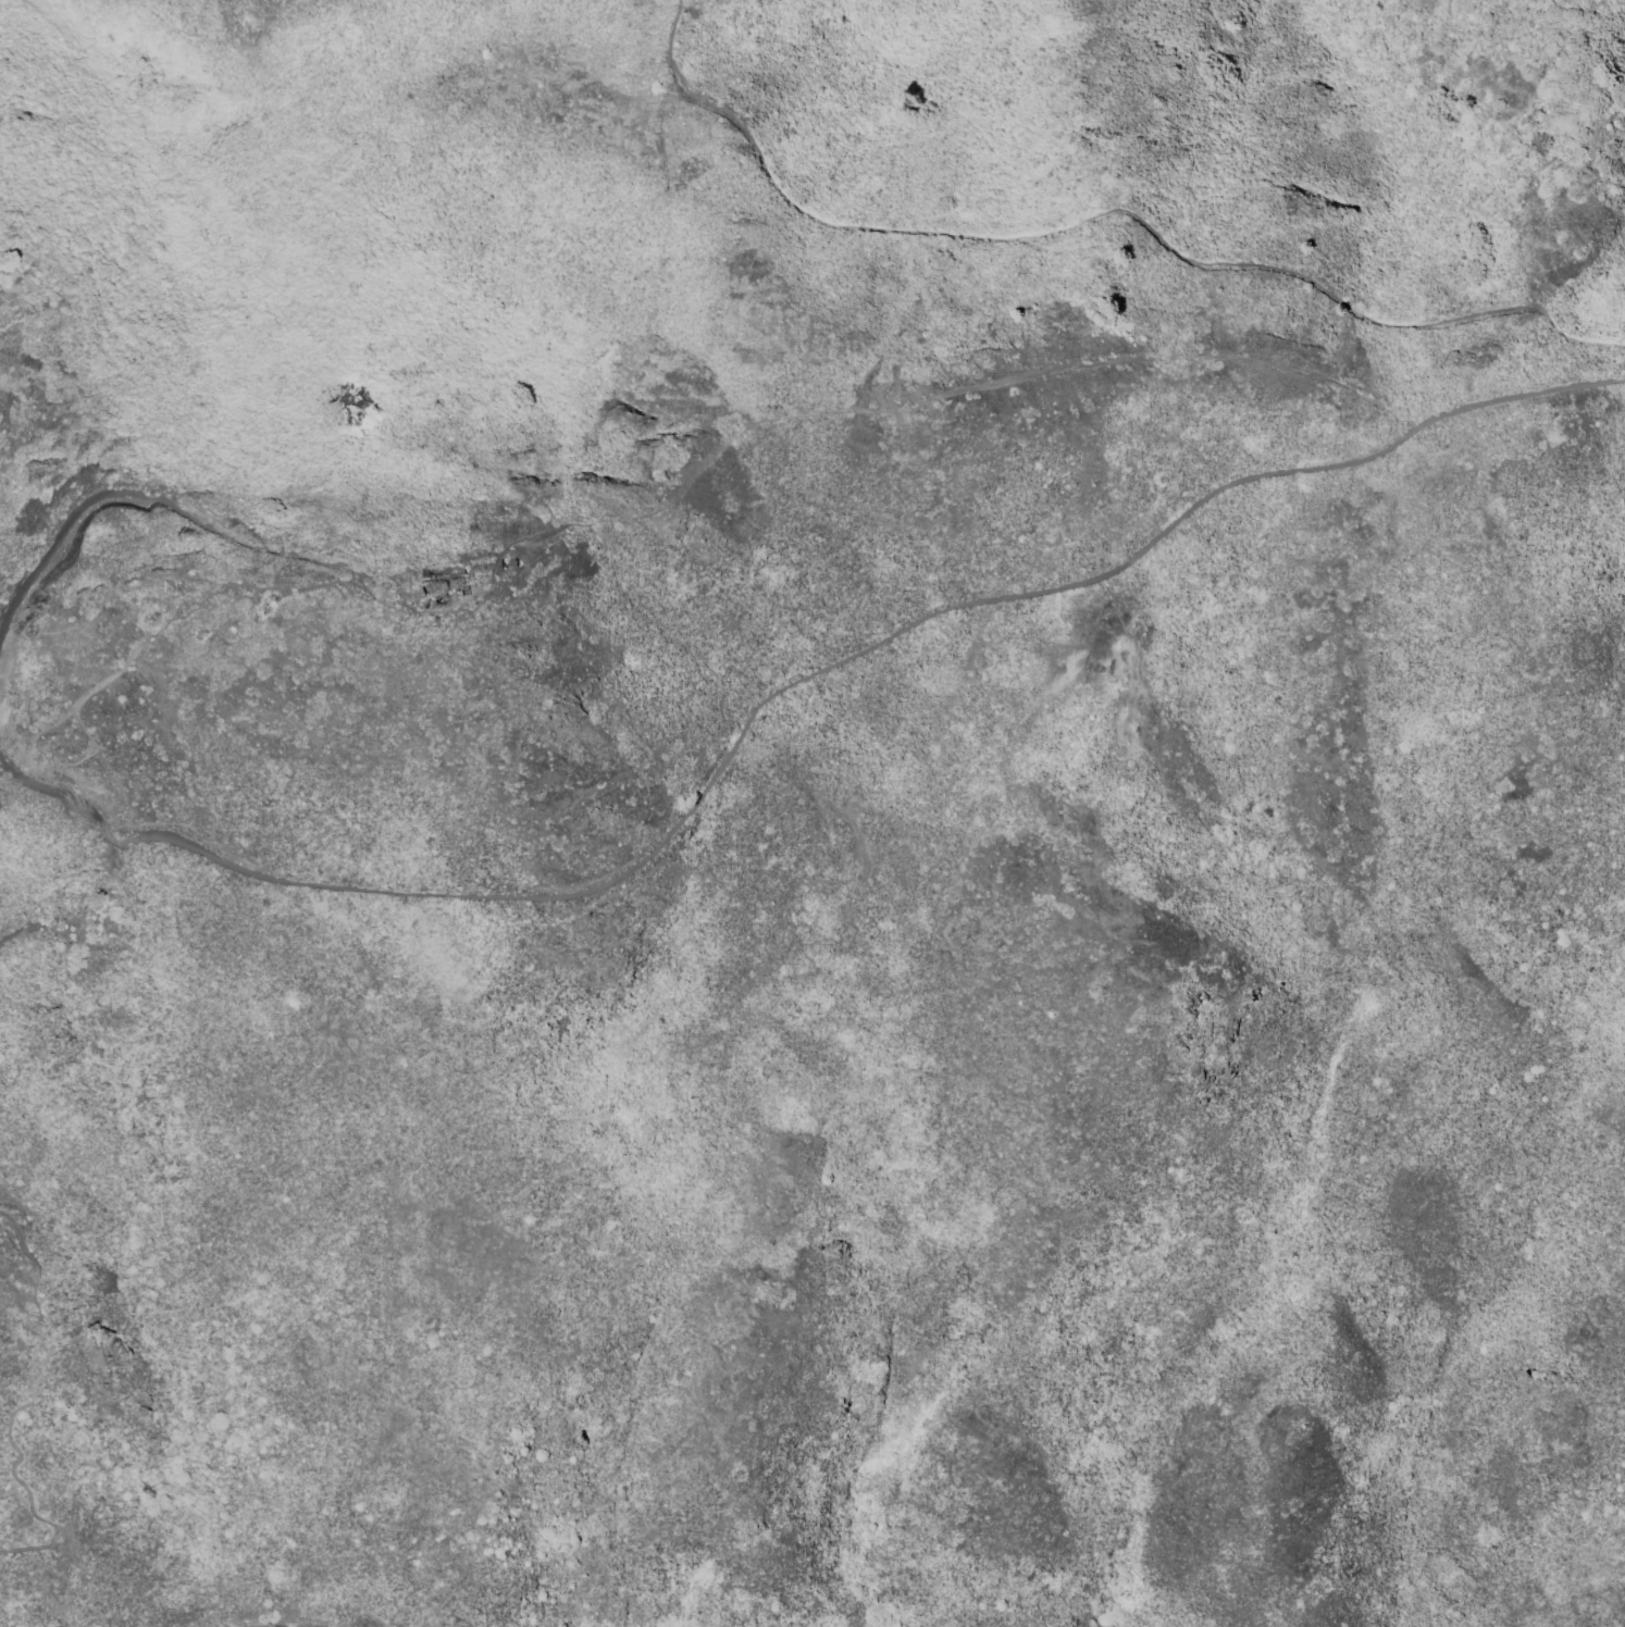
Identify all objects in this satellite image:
road: (1105, 211)
road: (647, 511)
road: (447, 564)
road: (849, 649)
road: (2, 766)
road: (2, 770)
road: (65, 799)
road: (111, 856)
road: (18, 933)
road: (21, 1241)
road: (29, 1503)

